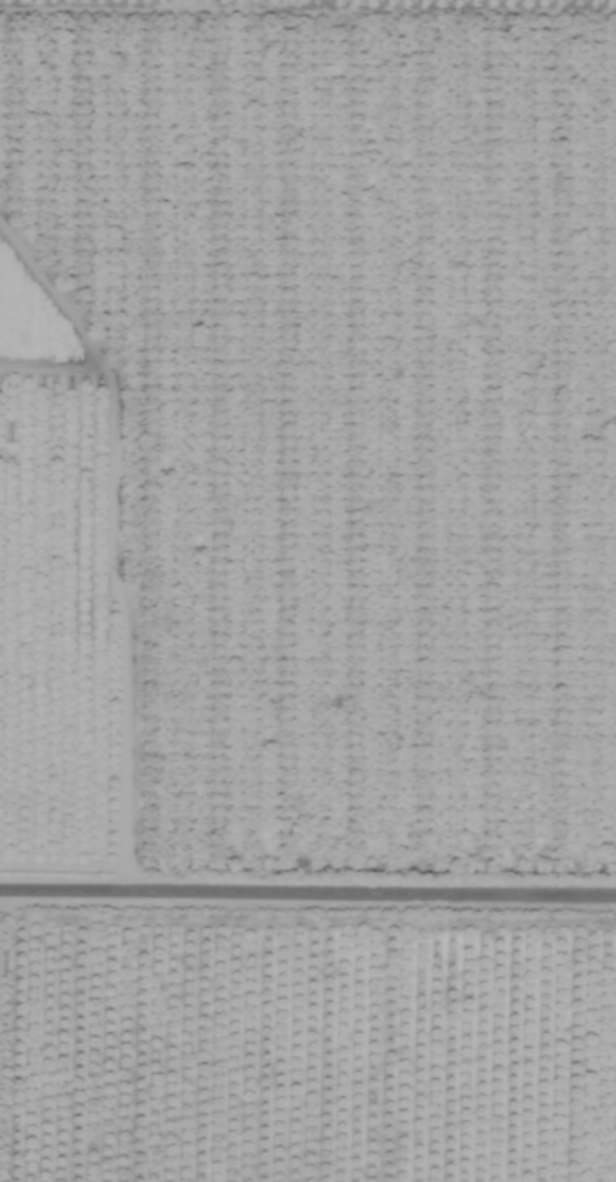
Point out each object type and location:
crop: (307, 591)
road: (307, 886)

